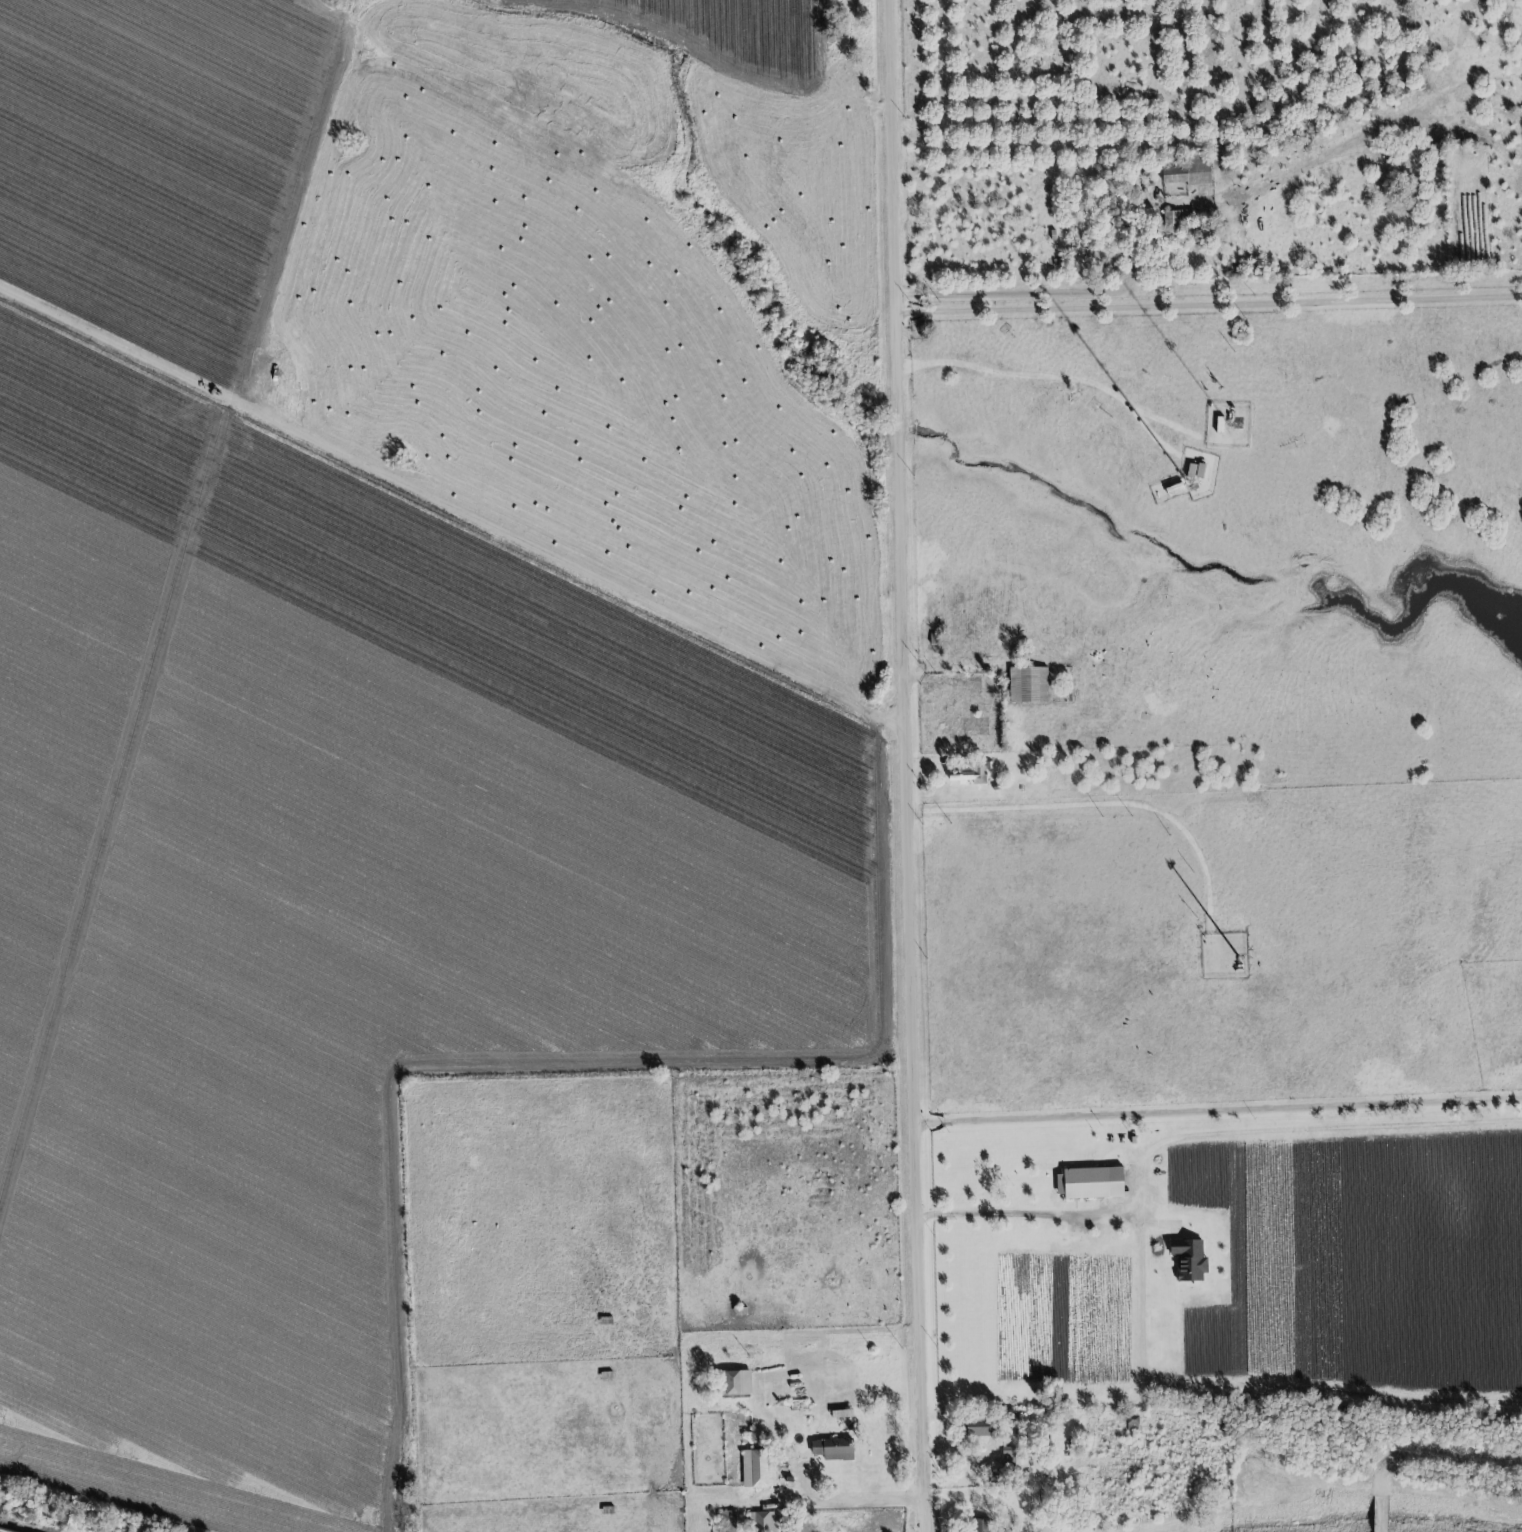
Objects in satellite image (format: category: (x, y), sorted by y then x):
road: (660, 57)
building: (1185, 177)
road: (1210, 307)
road: (1047, 381)
building: (1028, 685)
road: (910, 766)
building: (971, 775)
road: (1103, 805)
road: (1219, 1112)
building: (1091, 1185)
road: (1047, 1217)
building: (1189, 1261)
building: (736, 1383)
building: (978, 1427)
building: (834, 1449)
building: (1009, 1456)
building: (758, 1469)
road: (508, 1505)
building: (729, 1522)
building: (763, 1522)
building: (982, 1525)

